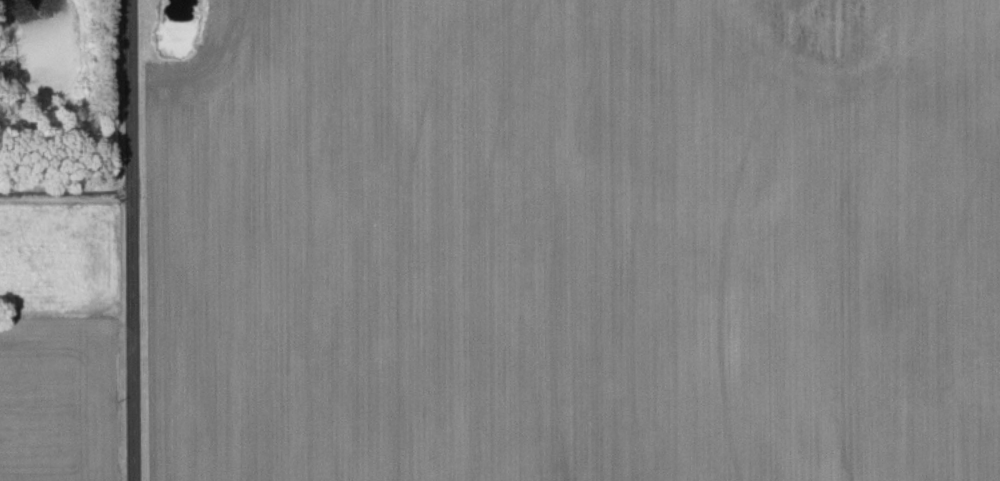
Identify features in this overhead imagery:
road: (66, 192)
road: (133, 240)

